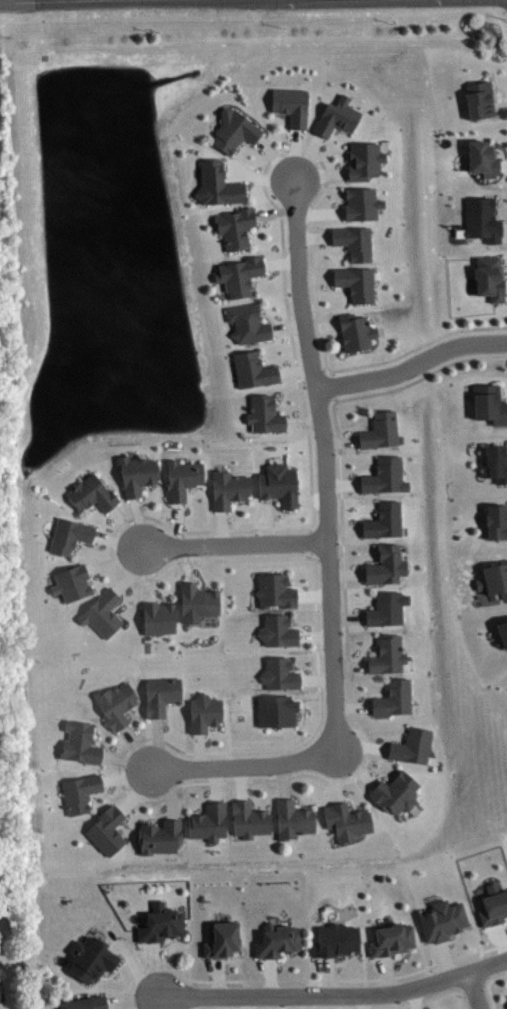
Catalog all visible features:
road: (7, 0)
road: (502, 92)
building: (478, 98)
building: (290, 104)
road: (499, 105)
building: (336, 116)
road: (284, 126)
building: (234, 129)
road: (252, 147)
road: (295, 153)
road: (502, 153)
road: (307, 156)
building: (482, 157)
road: (276, 158)
building: (363, 159)
road: (342, 165)
road: (503, 165)
road: (228, 173)
road: (320, 173)
road: (259, 176)
building: (217, 184)
building: (361, 202)
road: (339, 204)
road: (274, 212)
road: (320, 212)
road: (504, 217)
building: (481, 218)
building: (234, 226)
road: (258, 227)
road: (504, 227)
road: (314, 236)
building: (354, 241)
road: (331, 245)
road: (280, 262)
road: (504, 268)
building: (238, 274)
road: (265, 275)
road: (315, 277)
building: (489, 277)
building: (355, 282)
road: (505, 285)
road: (332, 289)
road: (269, 317)
building: (247, 322)
road: (321, 325)
road: (287, 326)
road: (333, 330)
building: (355, 331)
road: (276, 361)
road: (411, 365)
road: (328, 367)
building: (252, 369)
road: (294, 369)
road: (312, 374)
road: (331, 385)
road: (503, 395)
building: (489, 403)
road: (287, 409)
building: (264, 414)
road: (303, 421)
road: (356, 428)
building: (380, 430)
road: (341, 440)
building: (495, 462)
road: (325, 465)
road: (359, 472)
building: (136, 473)
building: (384, 475)
building: (181, 478)
road: (343, 483)
building: (278, 484)
building: (228, 488)
building: (91, 493)
road: (145, 497)
road: (311, 499)
road: (187, 500)
road: (232, 511)
road: (286, 513)
road: (103, 514)
road: (360, 516)
building: (384, 520)
road: (139, 521)
building: (496, 521)
road: (164, 523)
road: (176, 523)
road: (273, 525)
road: (222, 526)
road: (124, 528)
road: (344, 529)
building: (69, 534)
road: (311, 540)
road: (117, 541)
road: (235, 543)
road: (90, 546)
road: (115, 562)
road: (187, 562)
building: (385, 565)
road: (132, 571)
road: (346, 572)
road: (91, 574)
road: (148, 574)
road: (199, 577)
building: (493, 579)
building: (71, 582)
road: (297, 586)
building: (275, 590)
road: (313, 595)
road: (123, 599)
building: (196, 601)
road: (362, 606)
building: (386, 608)
building: (101, 612)
building: (156, 616)
road: (347, 617)
road: (299, 626)
building: (277, 630)
building: (502, 633)
road: (314, 636)
road: (364, 653)
building: (387, 654)
road: (349, 665)
road: (300, 670)
building: (279, 673)
road: (348, 678)
road: (315, 679)
building: (160, 694)
road: (370, 694)
building: (392, 698)
building: (115, 704)
road: (352, 706)
building: (276, 710)
building: (204, 712)
road: (303, 712)
road: (166, 716)
road: (134, 721)
road: (208, 733)
road: (388, 737)
building: (79, 742)
road: (104, 742)
road: (157, 742)
road: (289, 743)
road: (360, 745)
building: (411, 745)
road: (136, 747)
road: (199, 749)
road: (126, 758)
road: (243, 766)
road: (356, 768)
road: (379, 773)
road: (126, 777)
road: (335, 778)
road: (284, 780)
road: (241, 783)
road: (214, 784)
road: (138, 790)
building: (80, 791)
road: (167, 791)
road: (102, 792)
building: (395, 792)
road: (296, 794)
road: (252, 797)
road: (349, 797)
road: (160, 813)
road: (129, 818)
building: (248, 818)
building: (292, 819)
building: (346, 820)
building: (208, 821)
building: (106, 829)
building: (159, 836)
building: (493, 905)
road: (506, 916)
building: (441, 919)
building: (161, 923)
road: (502, 925)
building: (221, 939)
building: (335, 939)
building: (391, 939)
road: (451, 939)
building: (277, 940)
road: (501, 940)
road: (115, 945)
road: (165, 945)
building: (91, 958)
road: (396, 958)
road: (444, 958)
road: (225, 960)
road: (281, 961)
road: (339, 961)
road: (132, 963)
road: (484, 965)
road: (156, 968)
road: (115, 971)
road: (387, 973)
road: (328, 974)
road: (219, 976)
road: (271, 976)
road: (301, 979)
road: (488, 985)
road: (472, 987)
road: (474, 990)
building: (0, 994)
road: (335, 994)
road: (415, 998)
road: (308, 1001)
road: (364, 1001)
building: (85, 1002)
road: (155, 1002)
road: (206, 1002)
road: (249, 1002)
road: (133, 1004)
road: (111, 1006)
road: (385, 1007)

